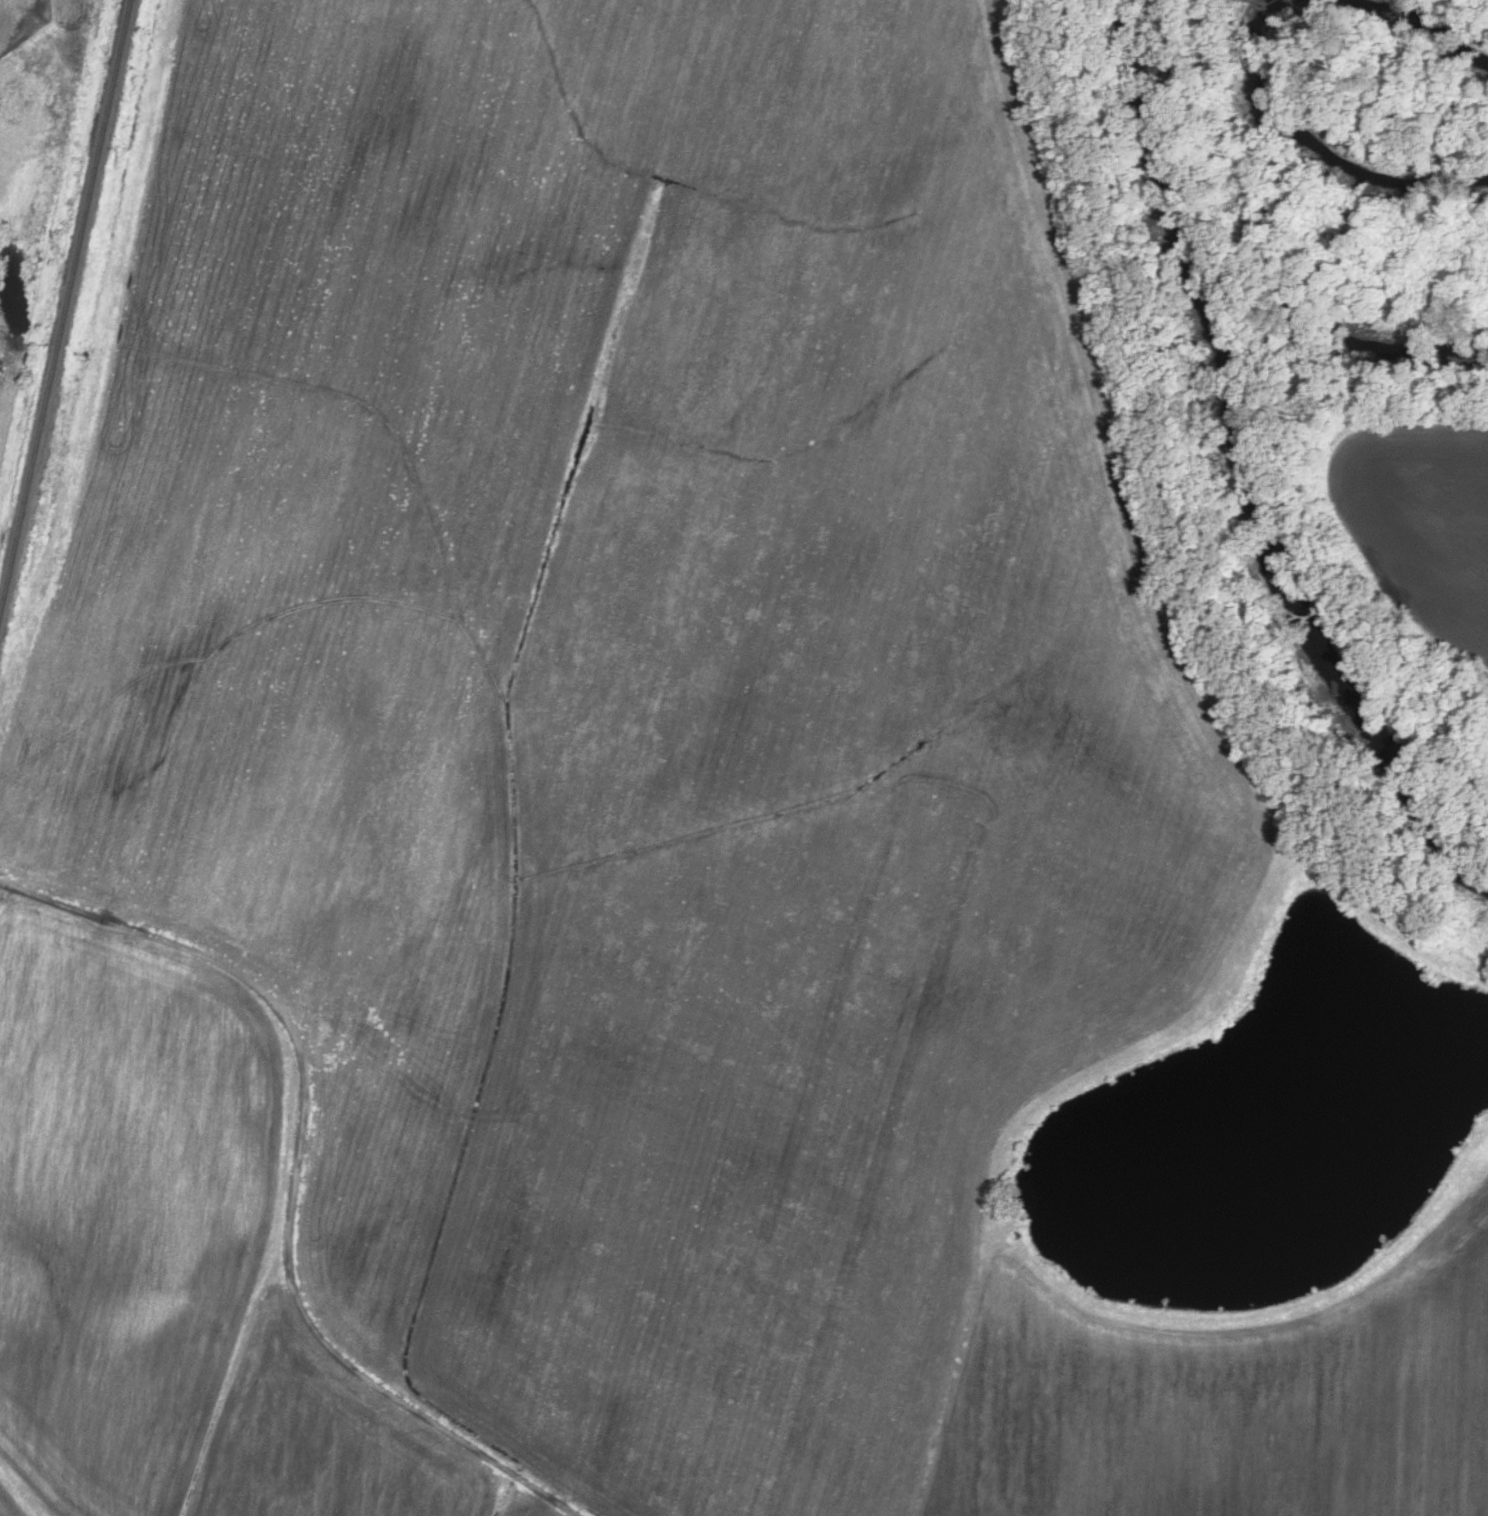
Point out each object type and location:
railway: (29, 206)

